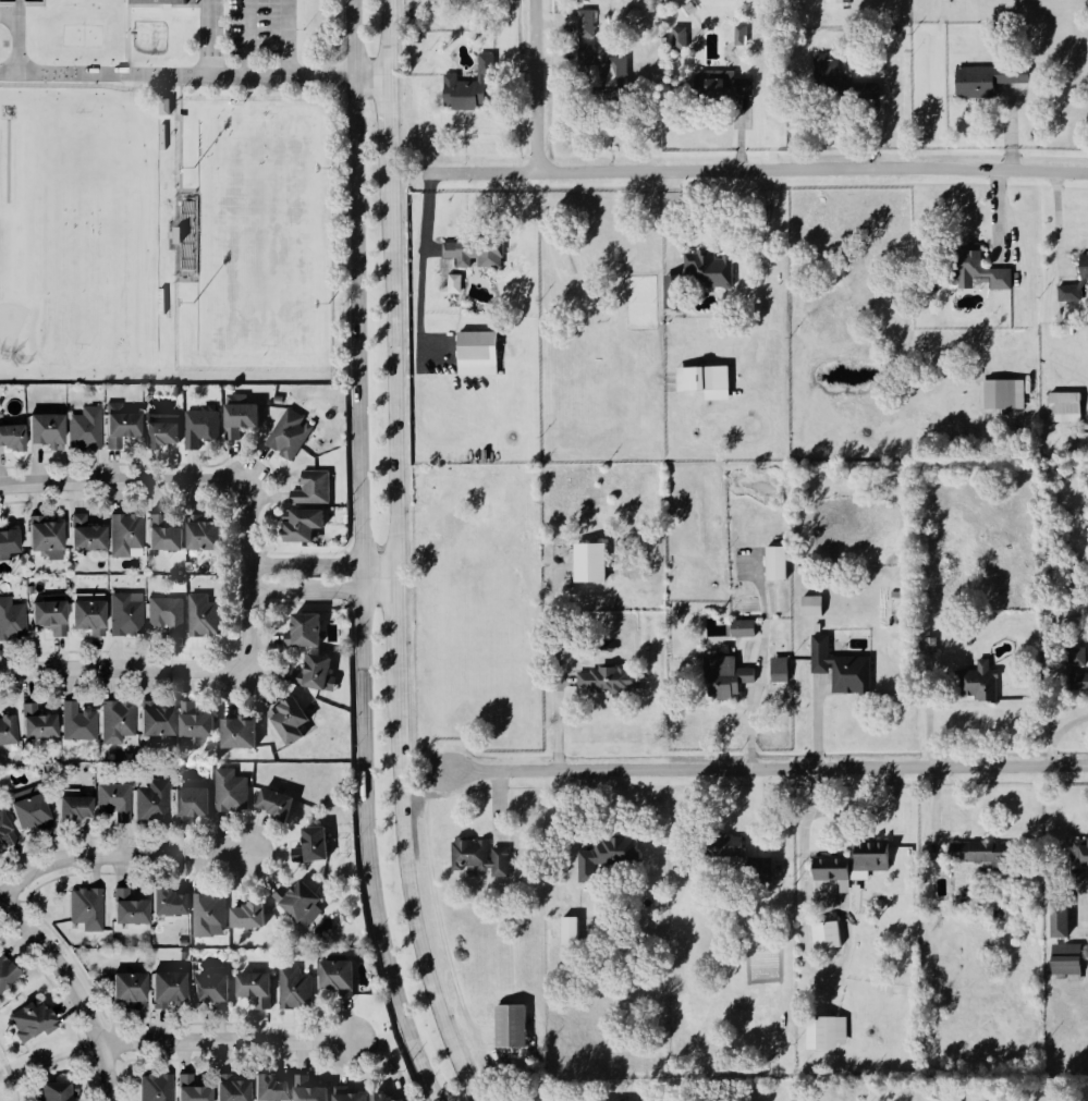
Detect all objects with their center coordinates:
building: (841, 1)
building: (107, 2)
building: (587, 22)
building: (743, 34)
road: (386, 36)
building: (680, 36)
road: (242, 38)
road: (281, 38)
building: (828, 65)
building: (613, 69)
road: (368, 72)
road: (124, 74)
road: (242, 76)
building: (990, 78)
building: (728, 81)
building: (475, 85)
road: (536, 85)
building: (168, 105)
road: (388, 114)
road: (755, 169)
road: (671, 218)
road: (1054, 220)
building: (476, 252)
road: (421, 258)
building: (1085, 259)
building: (714, 267)
building: (981, 269)
building: (453, 284)
building: (1072, 291)
building: (477, 352)
road: (389, 365)
building: (708, 376)
building: (176, 390)
building: (1000, 394)
building: (277, 397)
building: (267, 403)
building: (1064, 407)
building: (245, 412)
building: (125, 418)
building: (293, 418)
building: (93, 425)
building: (203, 427)
building: (167, 429)
building: (47, 430)
building: (12, 438)
road: (122, 480)
building: (315, 488)
building: (308, 524)
building: (91, 534)
building: (130, 534)
building: (169, 534)
building: (208, 534)
building: (51, 537)
building: (11, 541)
road: (355, 555)
building: (589, 562)
building: (774, 562)
road: (318, 563)
road: (246, 574)
road: (320, 591)
building: (810, 605)
building: (130, 613)
building: (204, 613)
building: (169, 614)
building: (12, 616)
building: (54, 616)
building: (94, 616)
road: (391, 616)
building: (311, 628)
building: (742, 628)
building: (1079, 655)
road: (123, 668)
building: (782, 669)
building: (317, 671)
building: (728, 676)
building: (857, 676)
building: (610, 678)
building: (982, 681)
building: (1079, 681)
building: (124, 715)
building: (293, 719)
building: (162, 721)
building: (82, 722)
building: (42, 723)
building: (201, 723)
building: (9, 730)
building: (243, 732)
road: (767, 768)
building: (229, 791)
building: (159, 798)
building: (196, 800)
building: (115, 802)
building: (279, 802)
building: (34, 807)
building: (81, 808)
building: (8, 828)
building: (317, 843)
building: (734, 844)
building: (472, 853)
building: (988, 854)
road: (113, 855)
building: (606, 855)
building: (1086, 857)
building: (501, 861)
building: (758, 865)
building: (865, 865)
building: (830, 868)
road: (409, 884)
building: (305, 890)
building: (174, 903)
building: (90, 908)
building: (134, 908)
building: (211, 914)
building: (247, 915)
building: (343, 918)
building: (1064, 920)
building: (569, 930)
building: (826, 935)
building: (183, 943)
building: (183, 956)
building: (1071, 958)
building: (8, 972)
building: (342, 976)
building: (258, 984)
building: (174, 987)
building: (134, 988)
building: (296, 988)
building: (217, 989)
road: (77, 991)
building: (37, 1020)
building: (510, 1027)
building: (830, 1032)
road: (224, 1044)
road: (3, 1057)
road: (10, 1069)
road: (14, 1088)
building: (160, 1088)
building: (277, 1088)
building: (197, 1090)
building: (239, 1090)
building: (313, 1090)
building: (57, 1091)
building: (354, 1097)
building: (387, 1097)
building: (607, 1100)

